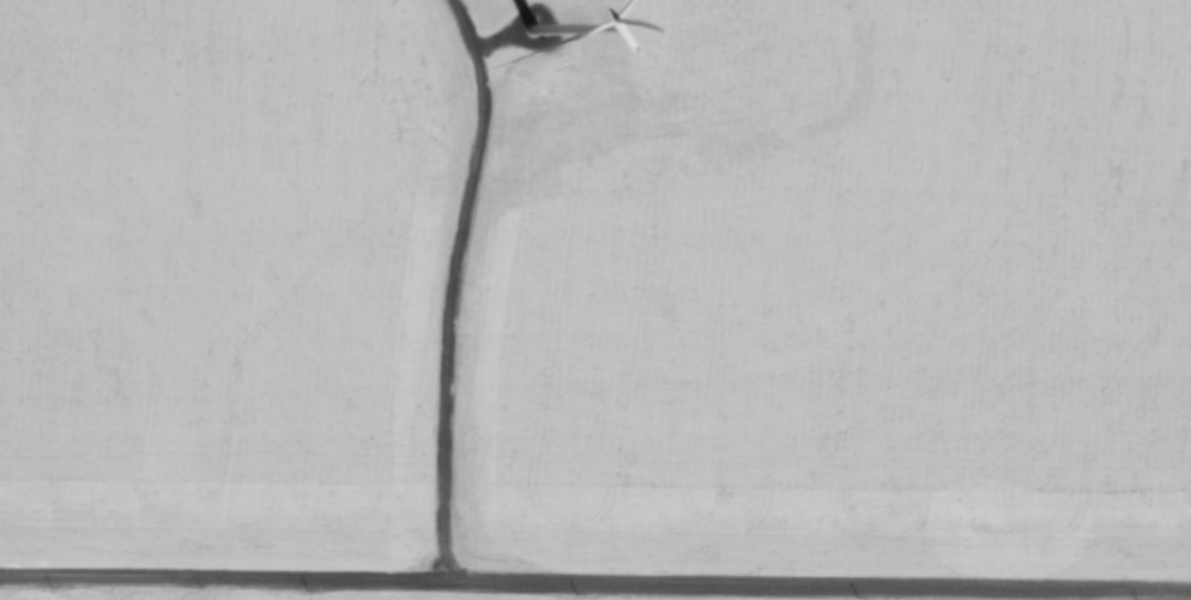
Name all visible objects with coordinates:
wind turbine: (526, 29)
road: (446, 287)
road: (594, 586)

